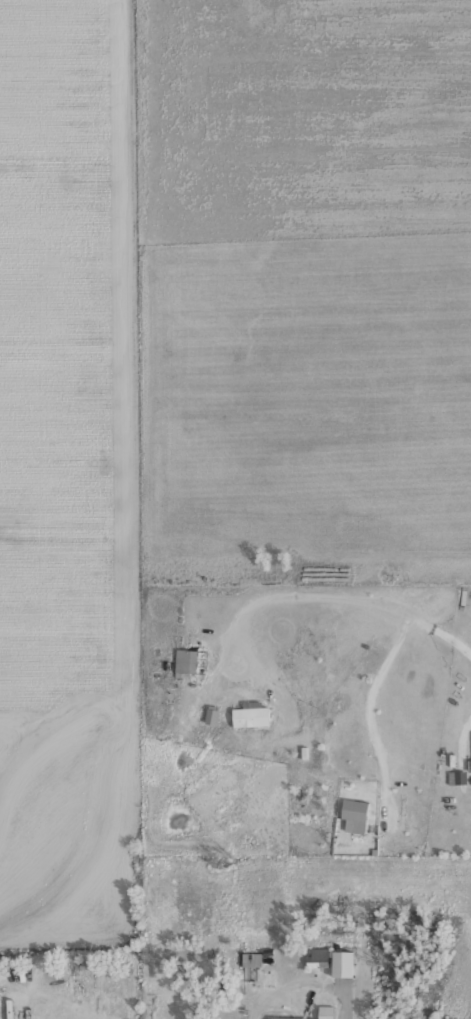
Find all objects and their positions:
building: (314, 959)
building: (250, 960)
building: (339, 964)
building: (269, 982)
building: (322, 1012)
building: (285, 1018)

